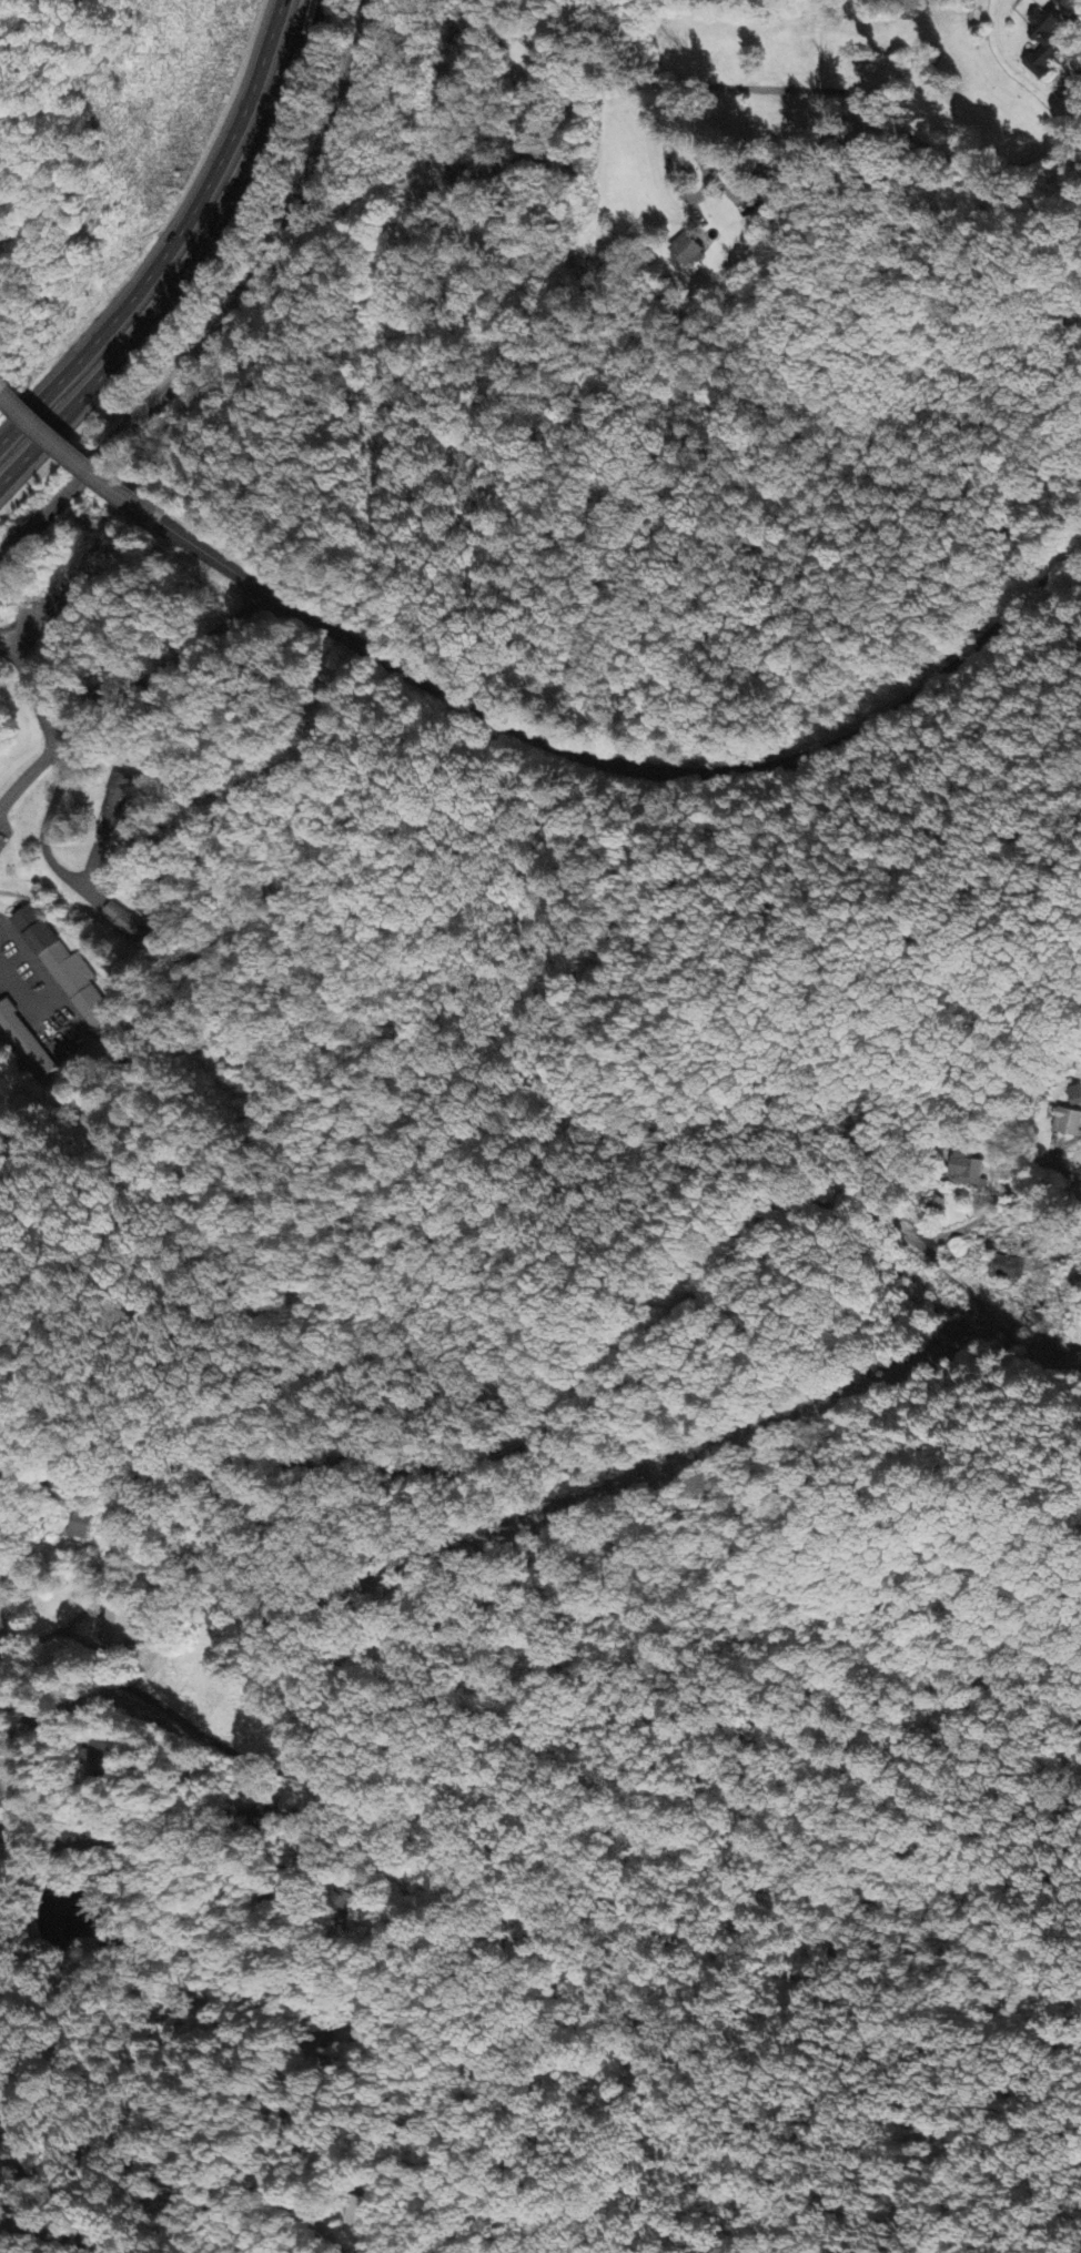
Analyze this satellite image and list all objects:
building: (1047, 46)
road: (620, 50)
road: (876, 109)
building: (751, 226)
road: (172, 240)
building: (688, 252)
road: (190, 263)
railway: (233, 310)
road: (78, 456)
road: (204, 552)
road: (143, 643)
road: (19, 665)
road: (128, 693)
road: (42, 718)
road: (679, 776)
building: (113, 804)
building: (129, 928)
building: (67, 972)
building: (1074, 1097)
building: (1067, 1123)
building: (970, 1174)
road: (839, 1196)
road: (580, 1201)
building: (1008, 1267)
road: (102, 1295)
road: (180, 1447)
road: (372, 1463)
road: (50, 1477)
building: (80, 1528)
road: (1, 1587)
road: (1, 1608)
building: (118, 1630)
road: (1, 1657)
road: (36, 1725)
road: (14, 1828)
road: (296, 1860)
building: (360, 2212)
road: (60, 2230)

